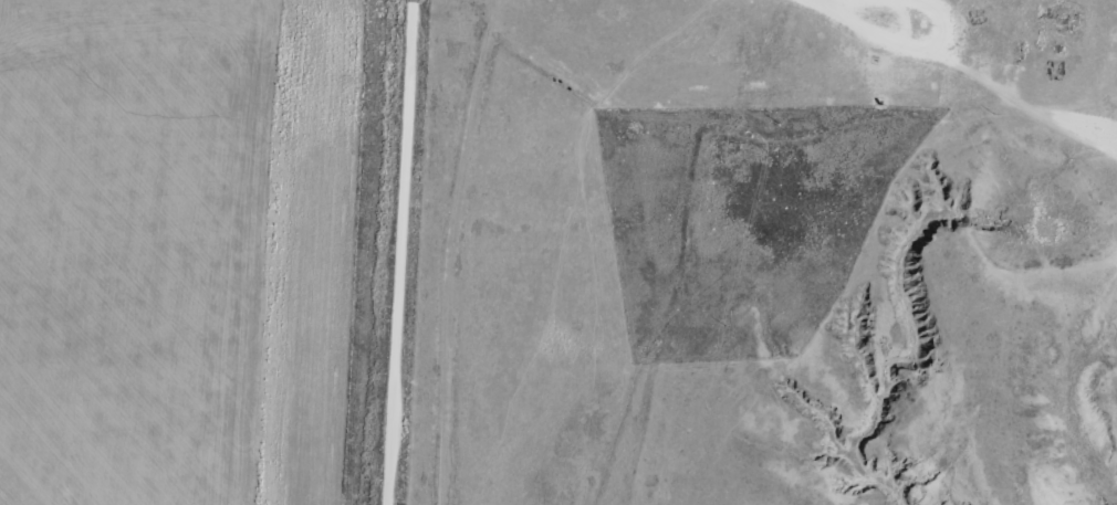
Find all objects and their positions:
road: (1008, 49)

